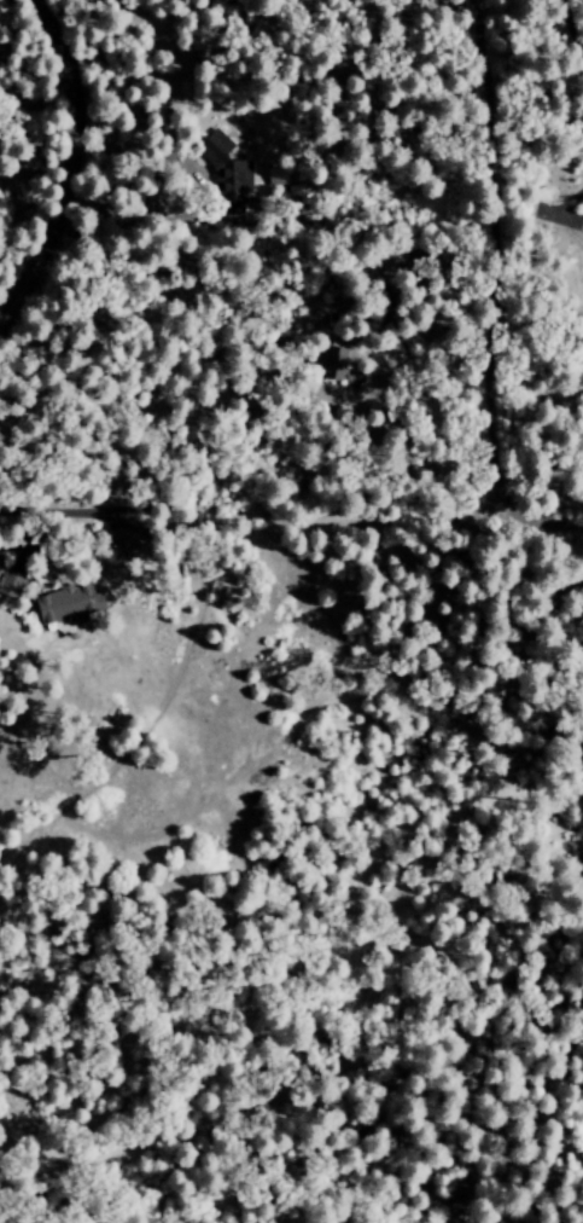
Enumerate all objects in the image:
road: (68, 164)
building: (226, 172)
road: (77, 510)
building: (8, 585)

